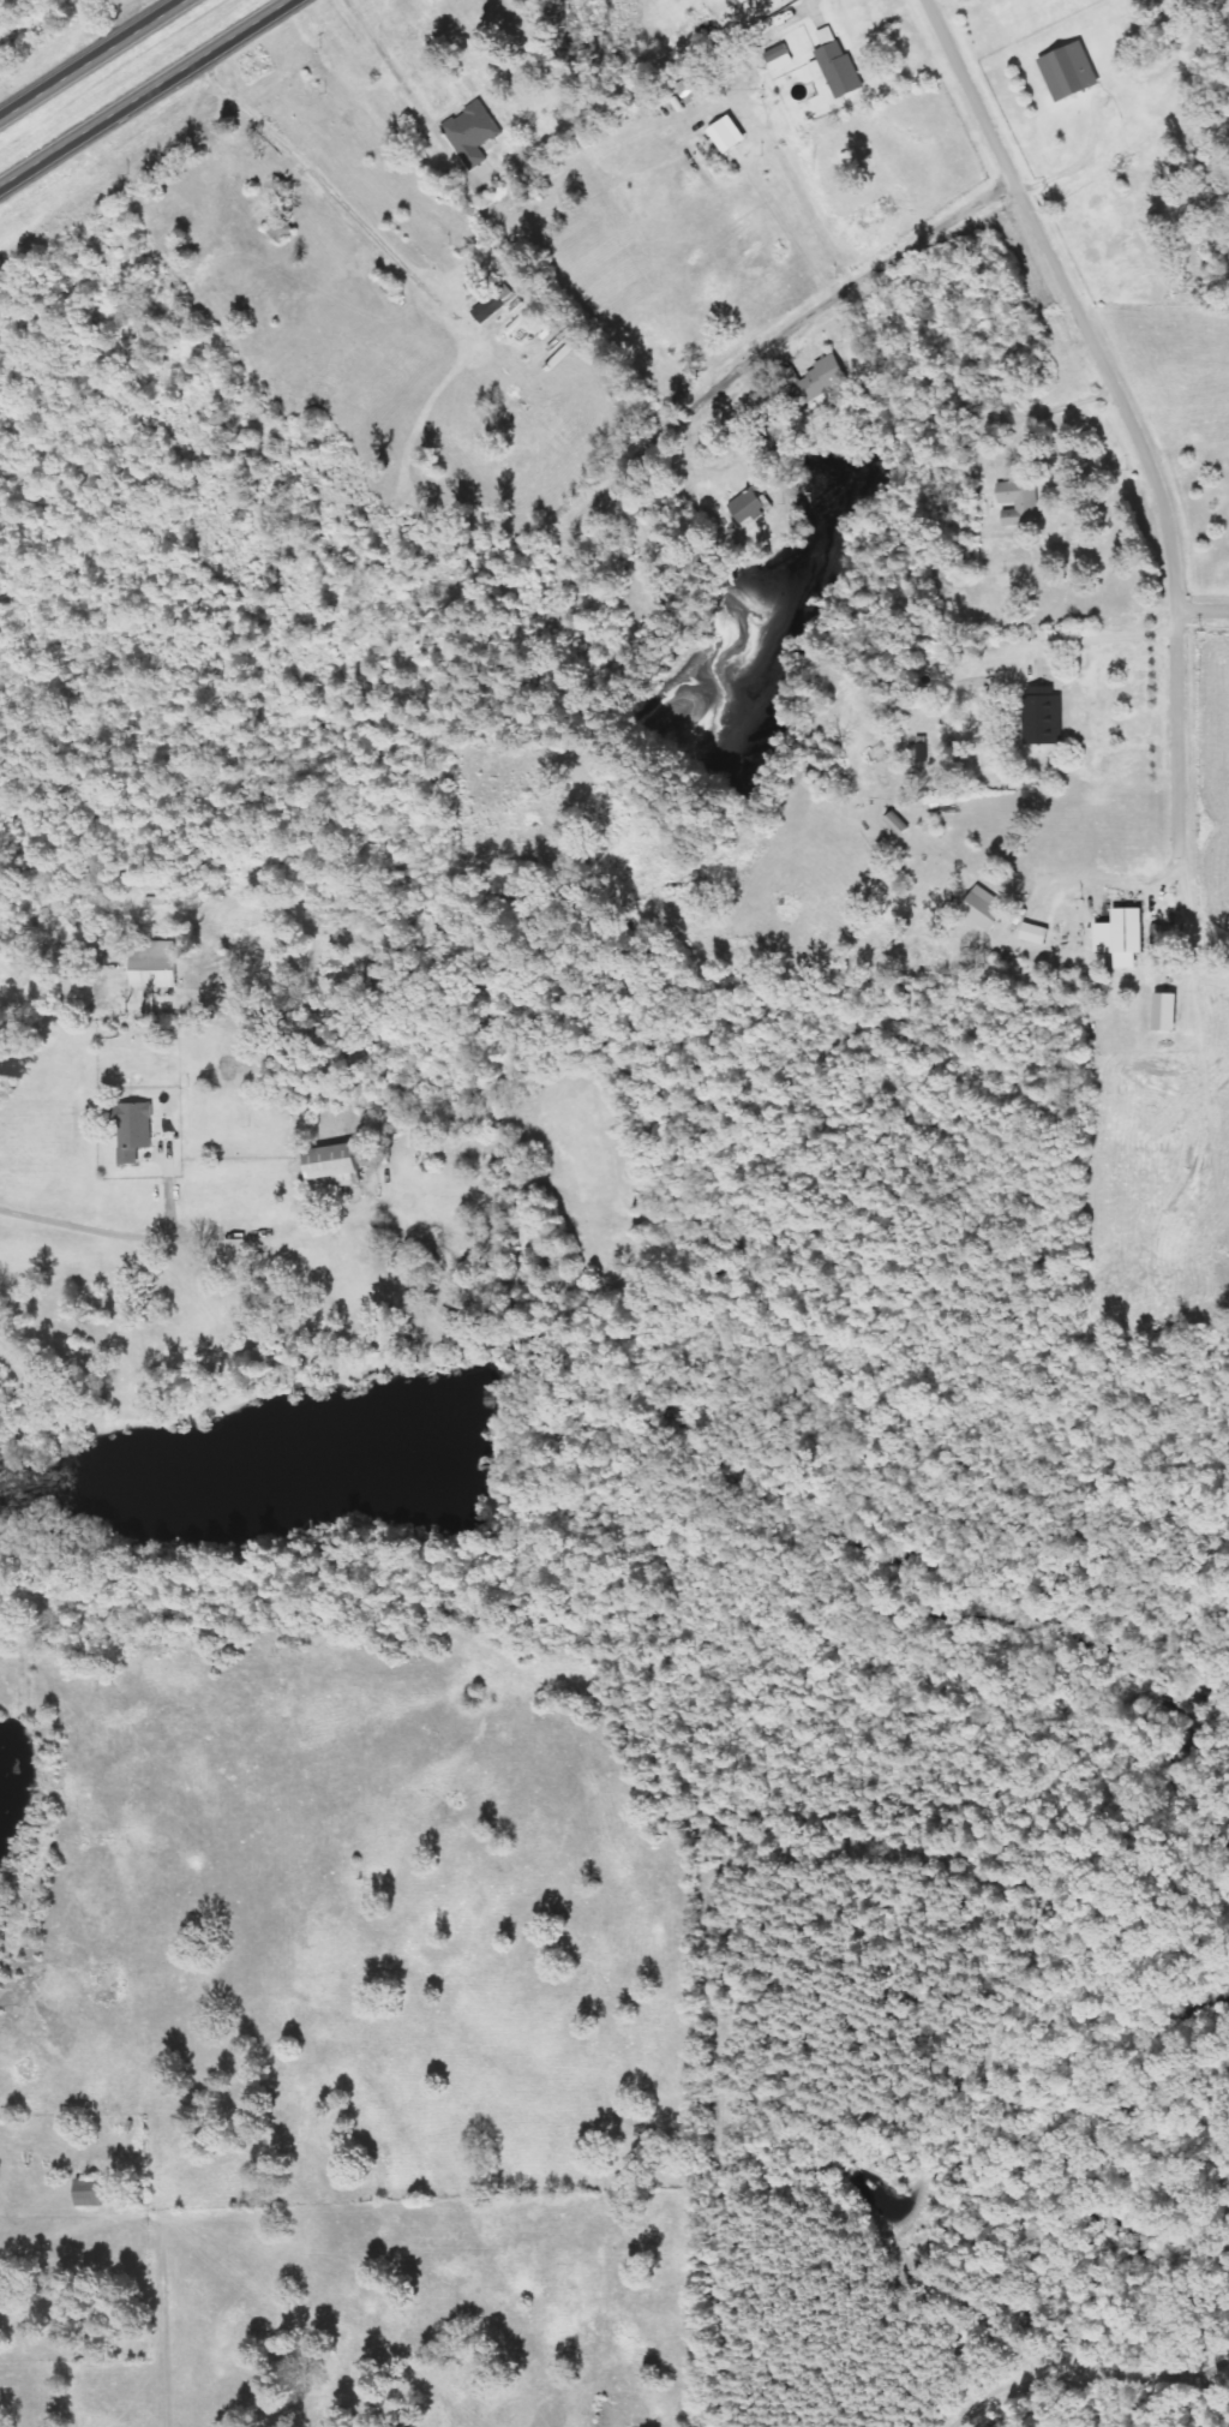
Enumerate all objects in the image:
building: (778, 58)
road: (91, 59)
building: (835, 66)
building: (1068, 71)
road: (144, 92)
building: (472, 132)
building: (726, 134)
building: (493, 303)
road: (786, 331)
building: (819, 382)
road: (1123, 407)
building: (1018, 501)
building: (749, 507)
road: (1201, 611)
road: (1097, 638)
building: (1042, 716)
building: (897, 824)
road: (1101, 881)
building: (983, 907)
building: (1121, 937)
building: (154, 964)
building: (1164, 1011)
building: (132, 1131)
building: (332, 1162)
road: (133, 1236)

